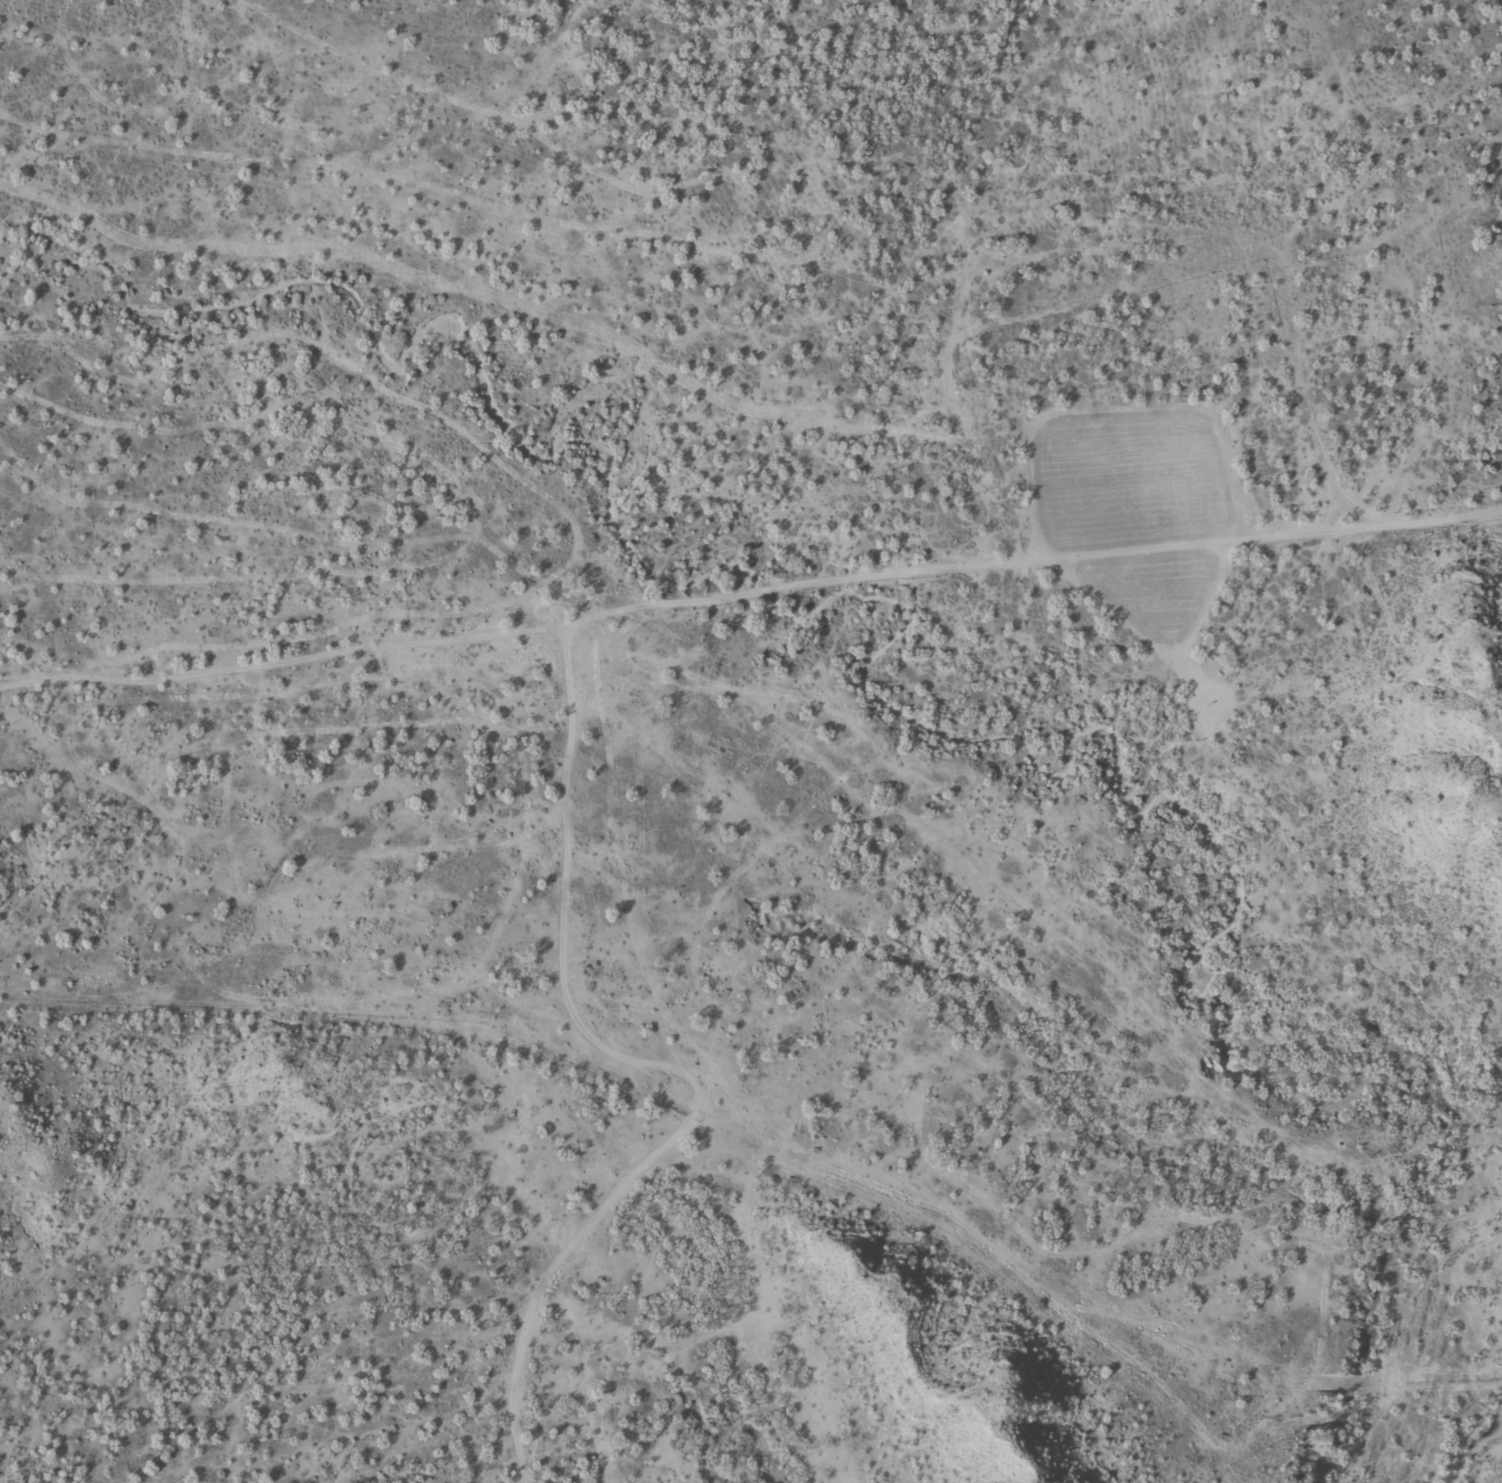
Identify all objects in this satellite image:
road: (1485, 17)

